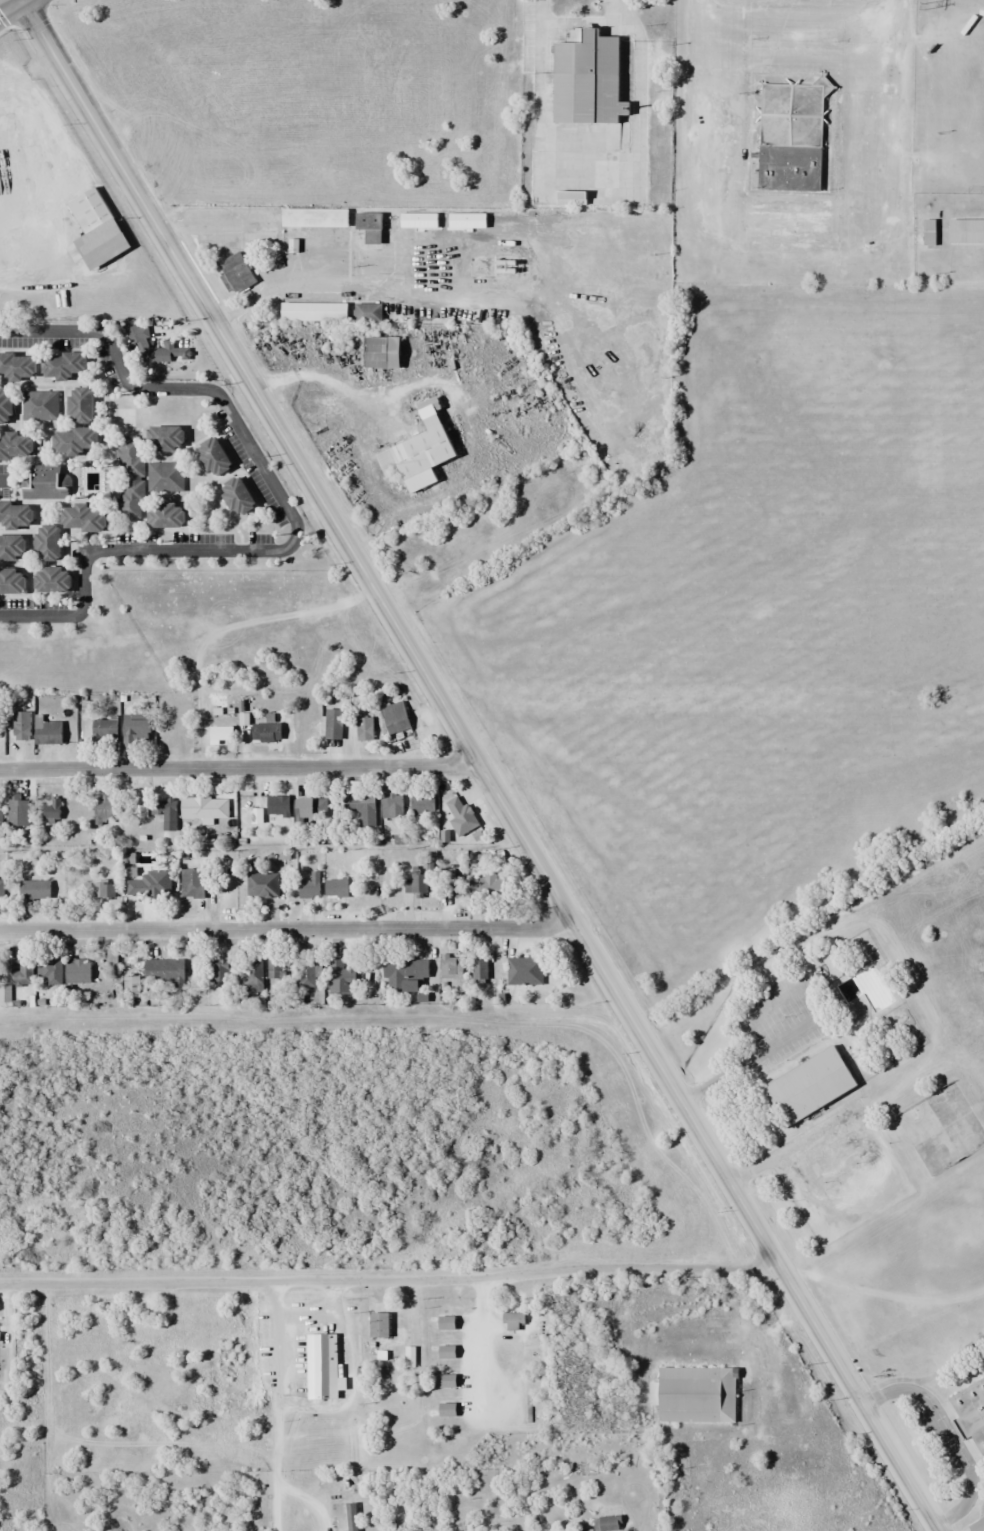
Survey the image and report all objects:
road: (19, 1)
road: (23, 1)
power tower: (922, 7)
road: (10, 8)
building: (588, 78)
building: (791, 136)
building: (315, 217)
building: (370, 226)
building: (96, 229)
building: (966, 231)
building: (929, 232)
building: (236, 271)
building: (314, 311)
building: (368, 312)
building: (156, 349)
building: (382, 352)
building: (62, 364)
building: (17, 365)
building: (80, 404)
building: (6, 405)
building: (39, 405)
building: (165, 437)
building: (73, 440)
building: (15, 446)
building: (419, 450)
building: (213, 456)
building: (165, 476)
building: (131, 477)
building: (42, 483)
building: (237, 496)
building: (15, 515)
building: (166, 515)
building: (82, 518)
building: (47, 542)
building: (12, 547)
building: (12, 580)
building: (52, 580)
building: (395, 718)
building: (334, 724)
building: (22, 726)
building: (136, 727)
building: (364, 729)
building: (105, 731)
building: (168, 731)
building: (49, 733)
building: (266, 733)
building: (217, 734)
road: (478, 767)
road: (240, 770)
building: (423, 805)
building: (278, 806)
building: (392, 806)
building: (105, 808)
building: (204, 808)
building: (311, 809)
building: (362, 809)
building: (18, 810)
building: (51, 811)
building: (1, 816)
building: (168, 816)
building: (461, 816)
building: (192, 884)
building: (415, 884)
building: (150, 885)
building: (262, 885)
building: (489, 885)
building: (310, 887)
building: (457, 887)
building: (336, 888)
building: (1, 889)
building: (105, 889)
building: (34, 891)
road: (287, 928)
building: (112, 959)
building: (451, 966)
building: (275, 968)
building: (480, 971)
building: (525, 971)
building: (49, 972)
building: (79, 972)
building: (164, 972)
building: (220, 972)
building: (309, 974)
building: (405, 974)
building: (17, 977)
building: (252, 977)
building: (341, 977)
building: (131, 986)
park: (853, 1046)
building: (810, 1085)
road: (390, 1281)
building: (513, 1319)
building: (447, 1323)
building: (379, 1325)
building: (447, 1352)
building: (322, 1367)
building: (694, 1395)
road: (272, 1406)
building: (448, 1410)
building: (970, 1413)
building: (609, 1520)

